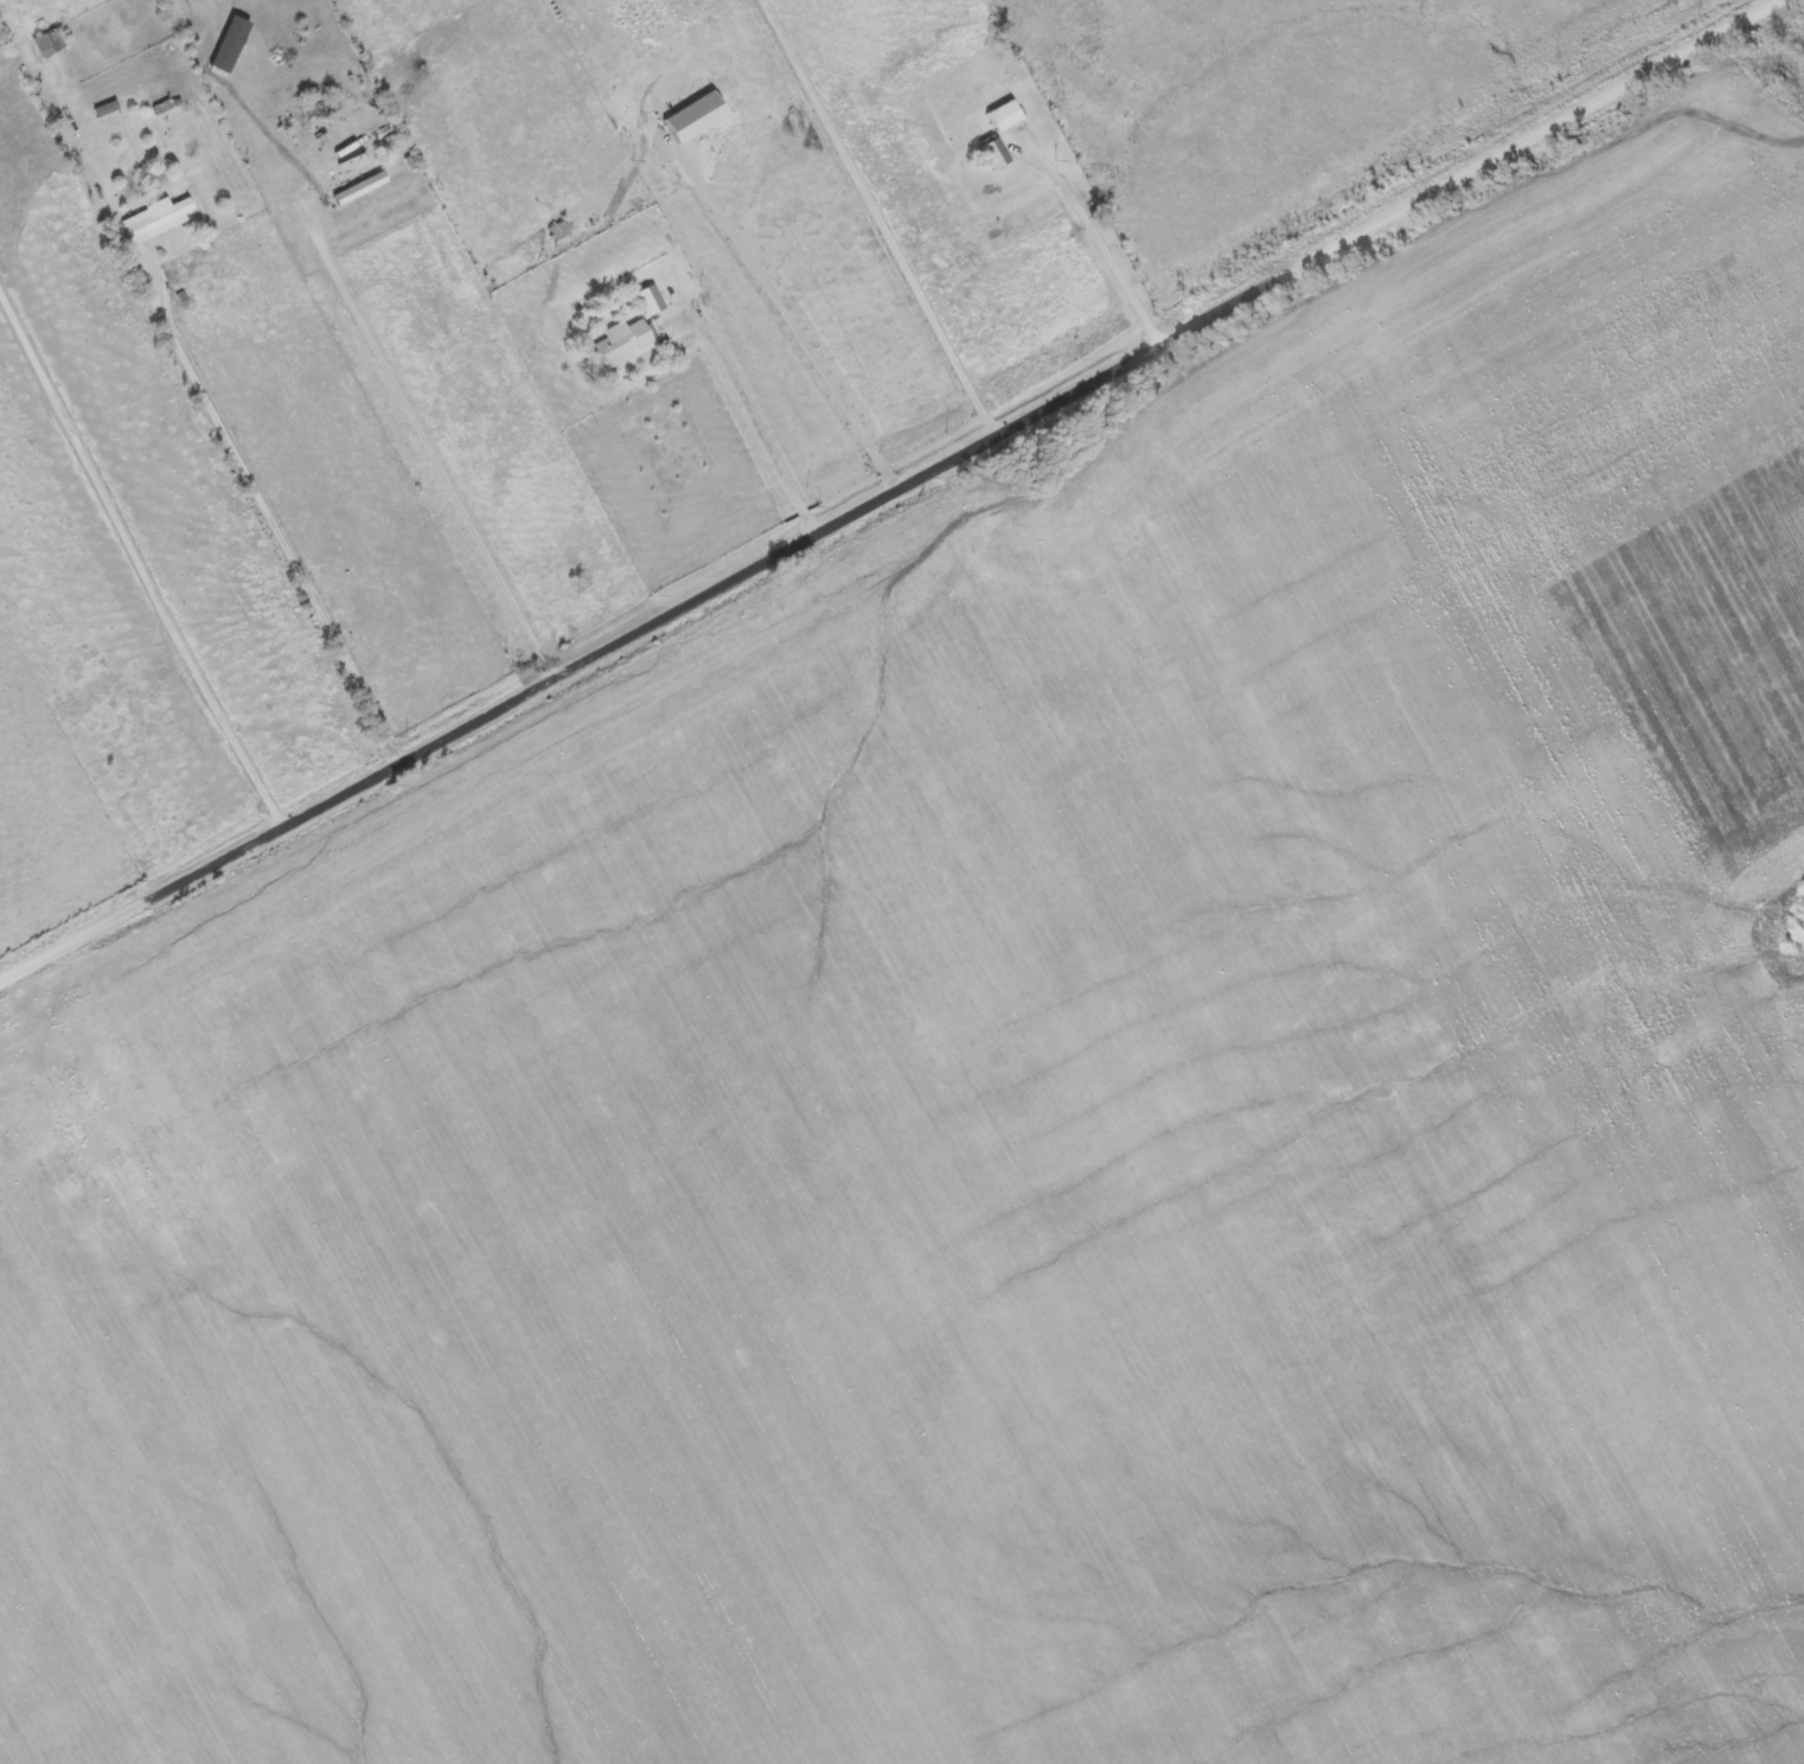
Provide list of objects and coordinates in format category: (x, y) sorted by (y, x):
building: (46, 44)
building: (1000, 117)
building: (689, 119)
building: (991, 155)
road: (877, 218)
building: (153, 220)
building: (648, 301)
road: (370, 372)
road: (891, 494)

